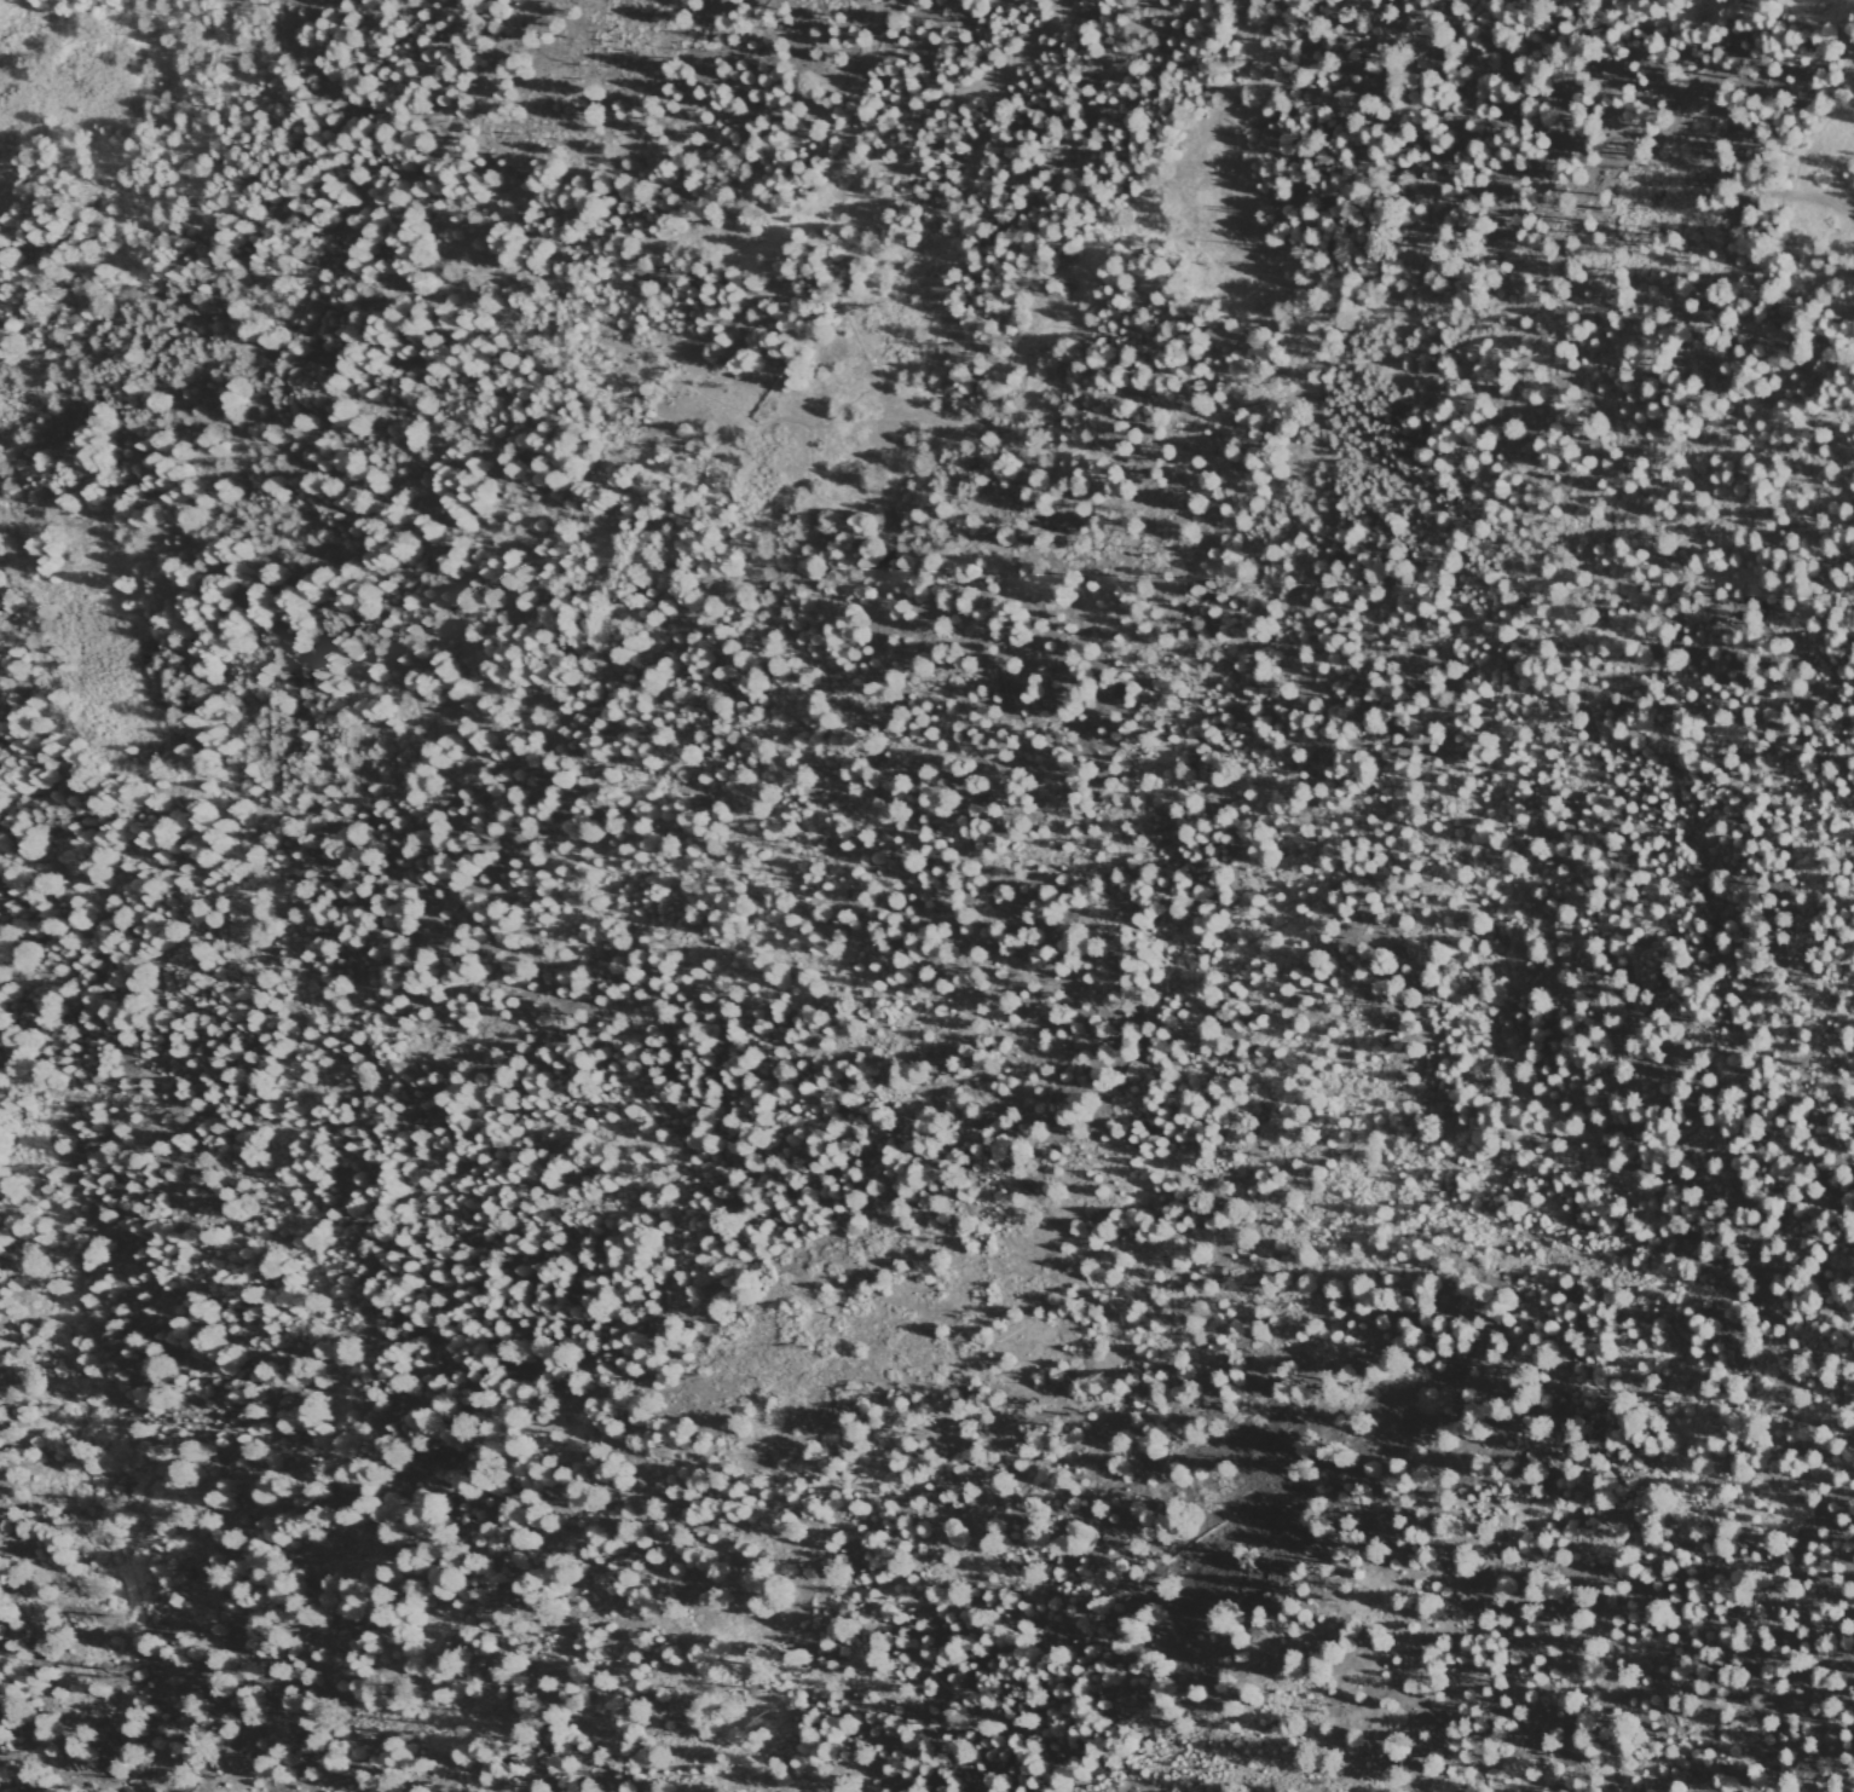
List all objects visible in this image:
road: (1604, 123)
road: (909, 421)

